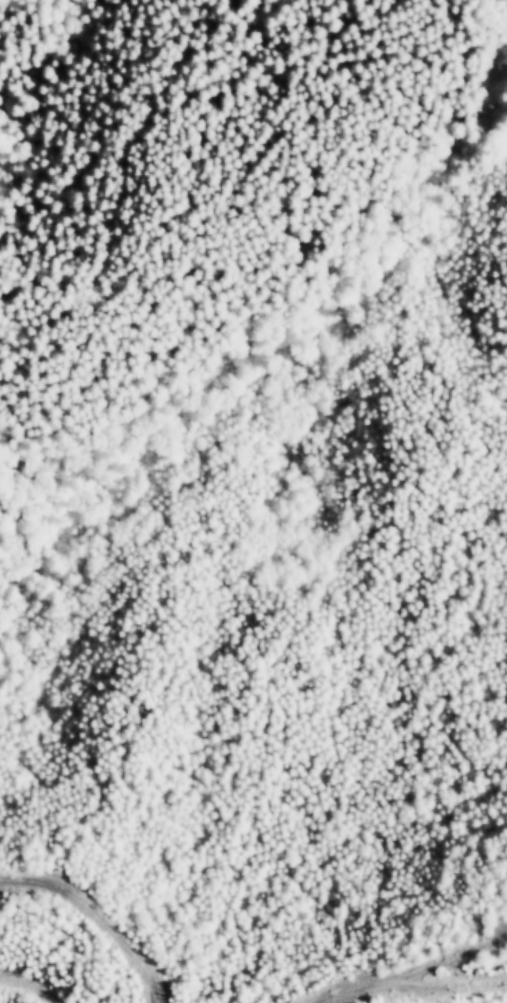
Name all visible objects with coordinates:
road: (97, 915)
road: (29, 987)

